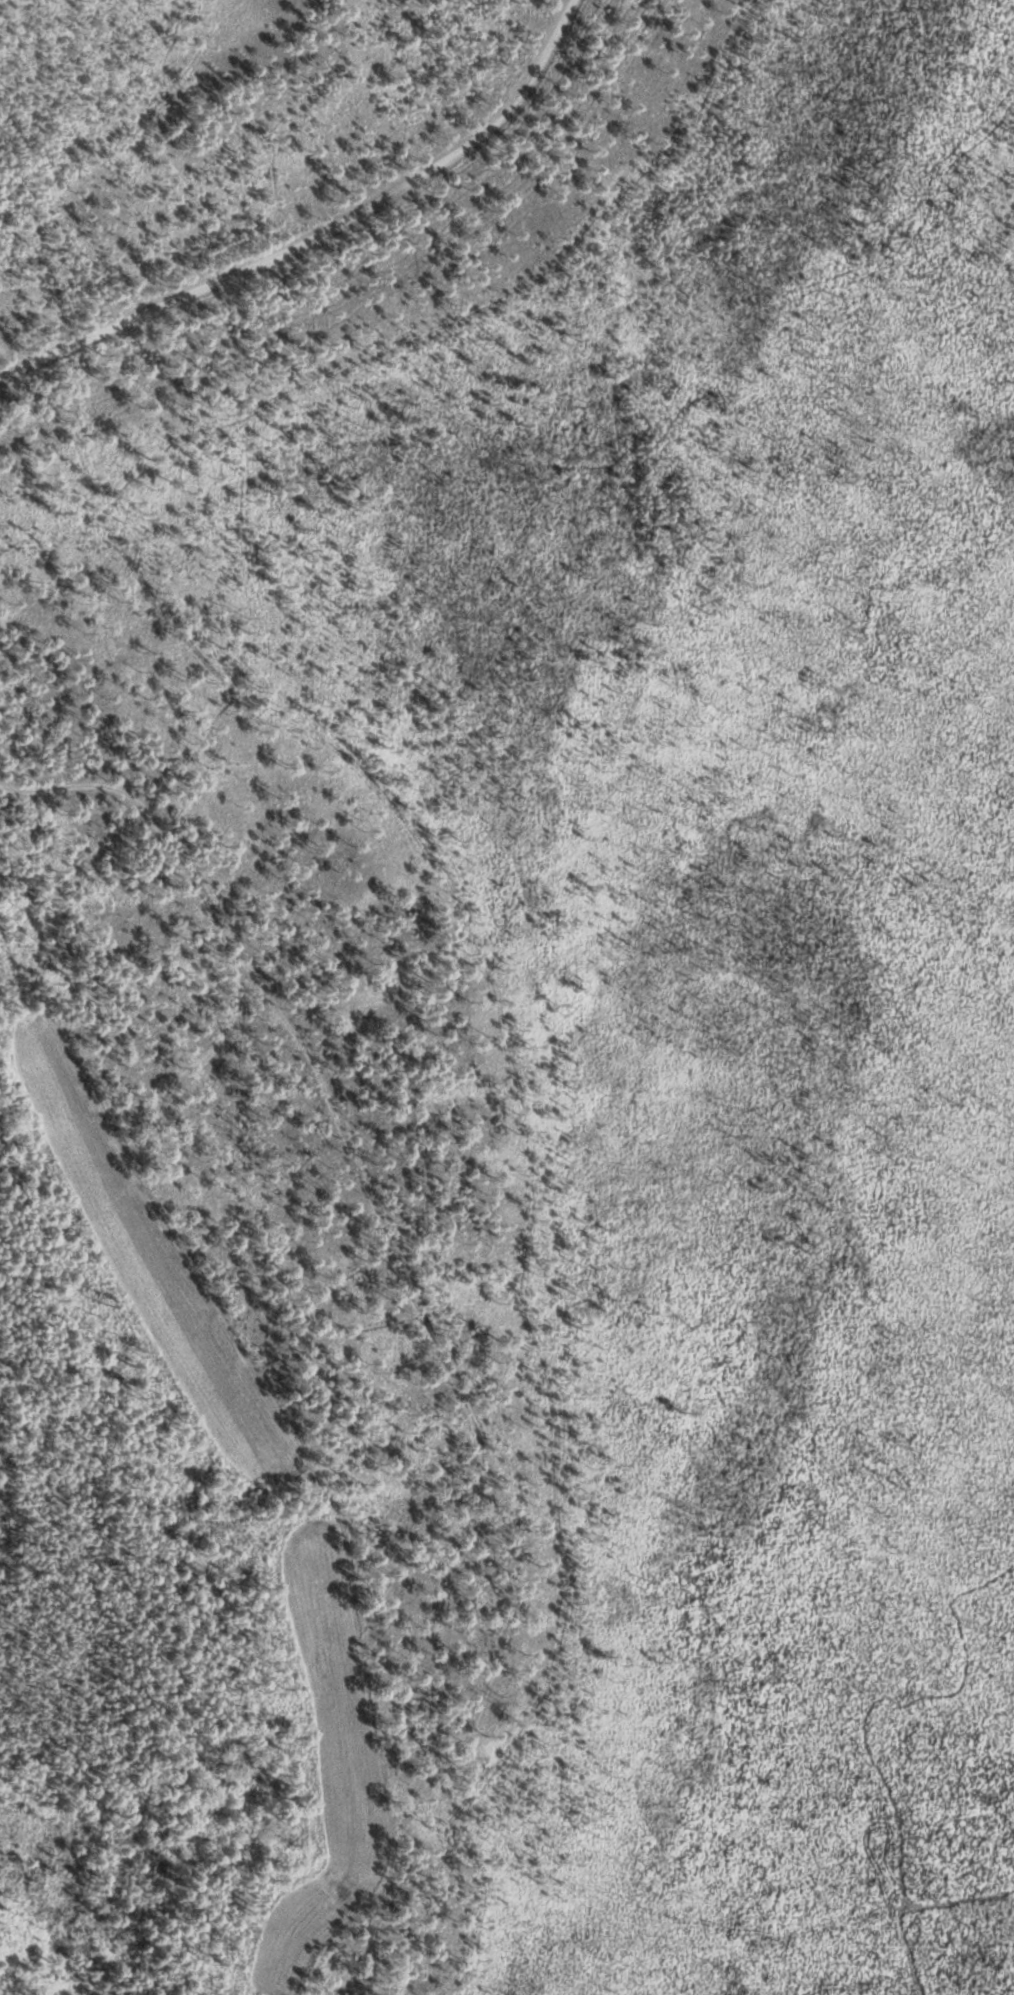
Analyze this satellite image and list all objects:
road: (320, 232)

